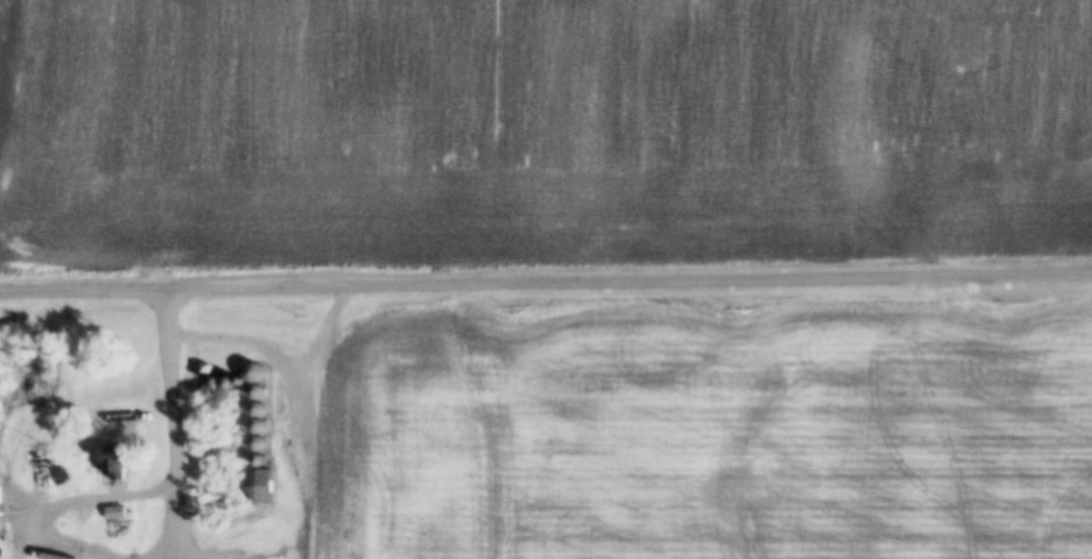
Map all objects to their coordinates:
road: (545, 289)
road: (177, 409)
building: (260, 486)
building: (116, 512)

